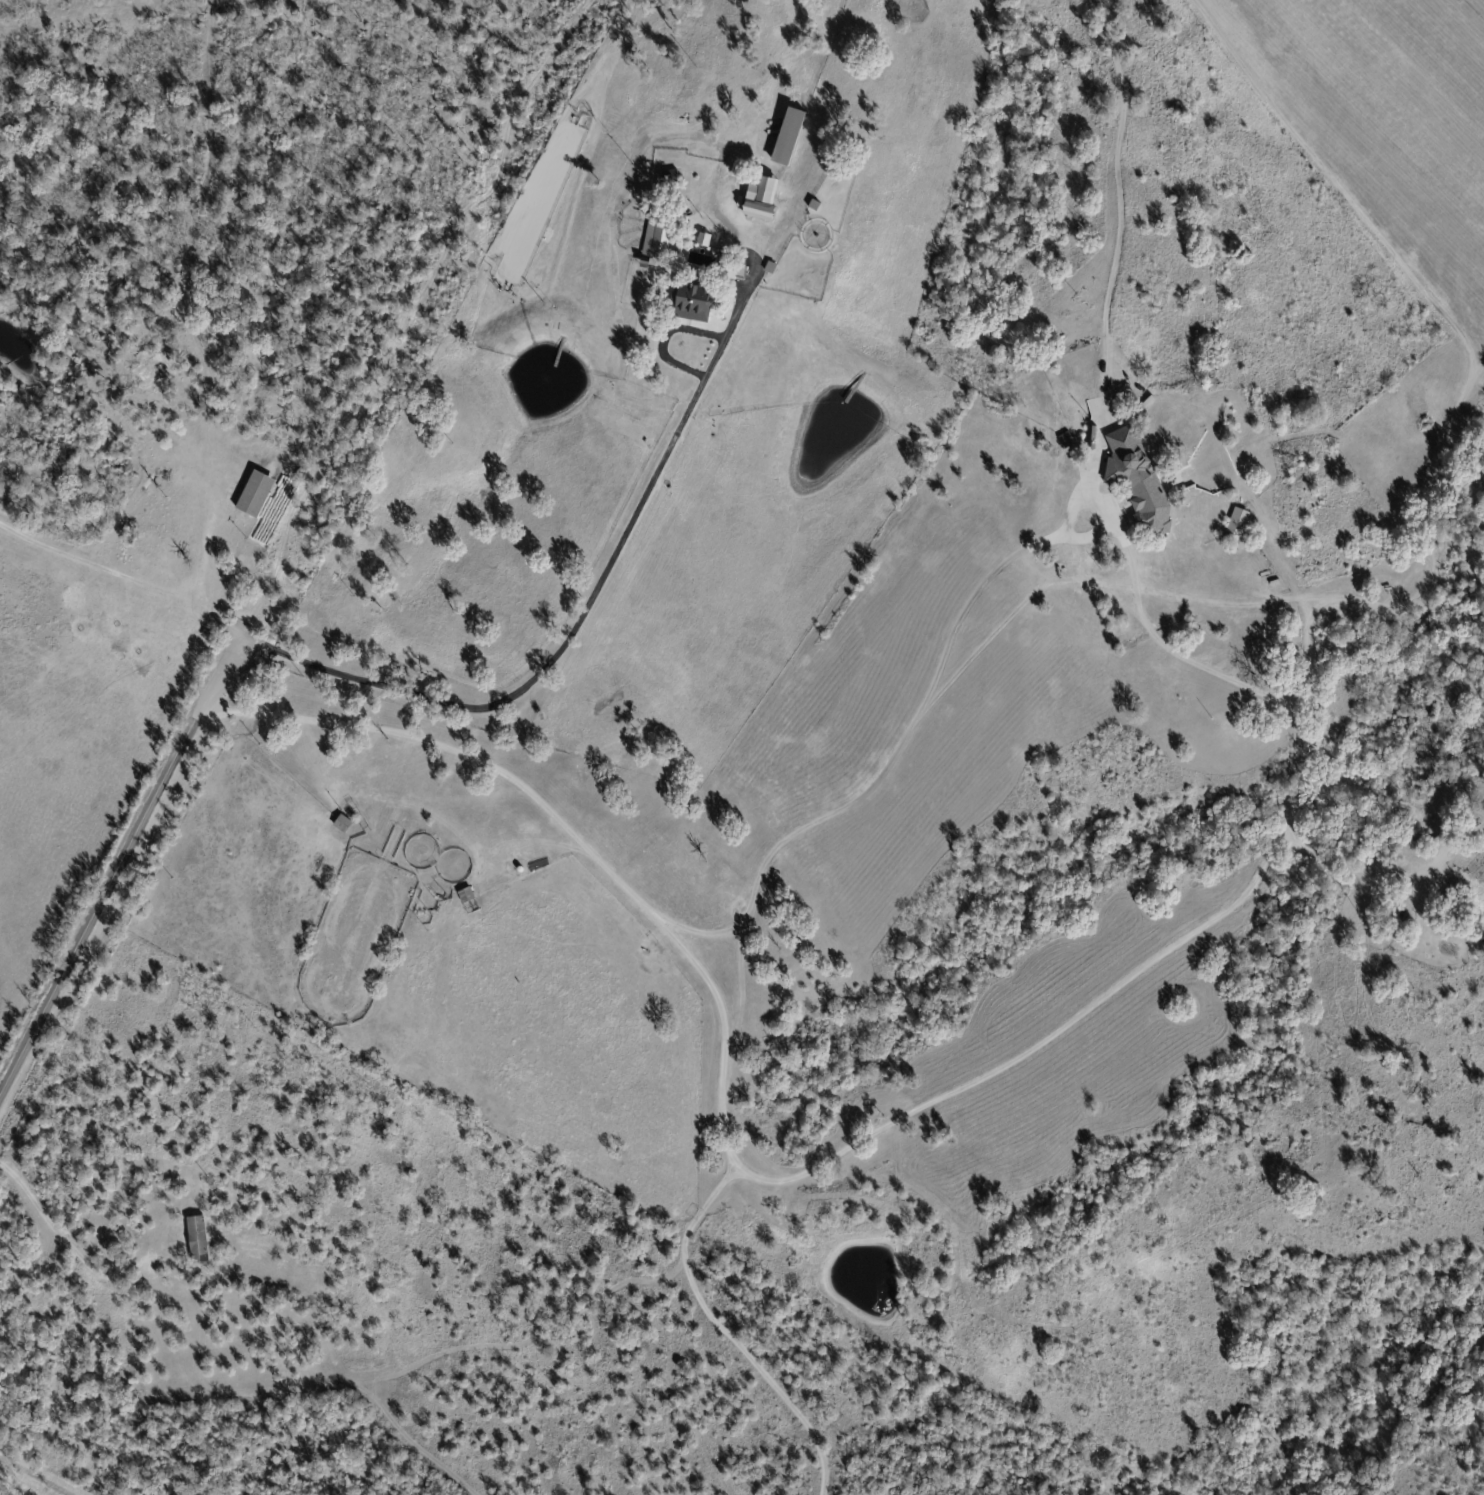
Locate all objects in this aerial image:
building: (788, 138)
building: (669, 179)
building: (765, 191)
building: (758, 212)
building: (703, 239)
building: (658, 242)
building: (829, 243)
building: (769, 268)
building: (740, 272)
building: (688, 303)
road: (663, 338)
building: (155, 369)
building: (1066, 440)
building: (1148, 447)
building: (1157, 485)
building: (256, 495)
building: (1236, 525)
road: (205, 543)
road: (275, 568)
road: (123, 575)
road: (595, 588)
road: (889, 762)
road: (119, 865)
road: (1363, 873)
building: (608, 990)
road: (833, 1158)
building: (197, 1239)
road: (72, 1246)
road: (724, 1331)
building: (1182, 1455)
building: (1193, 1457)
building: (1185, 1464)

